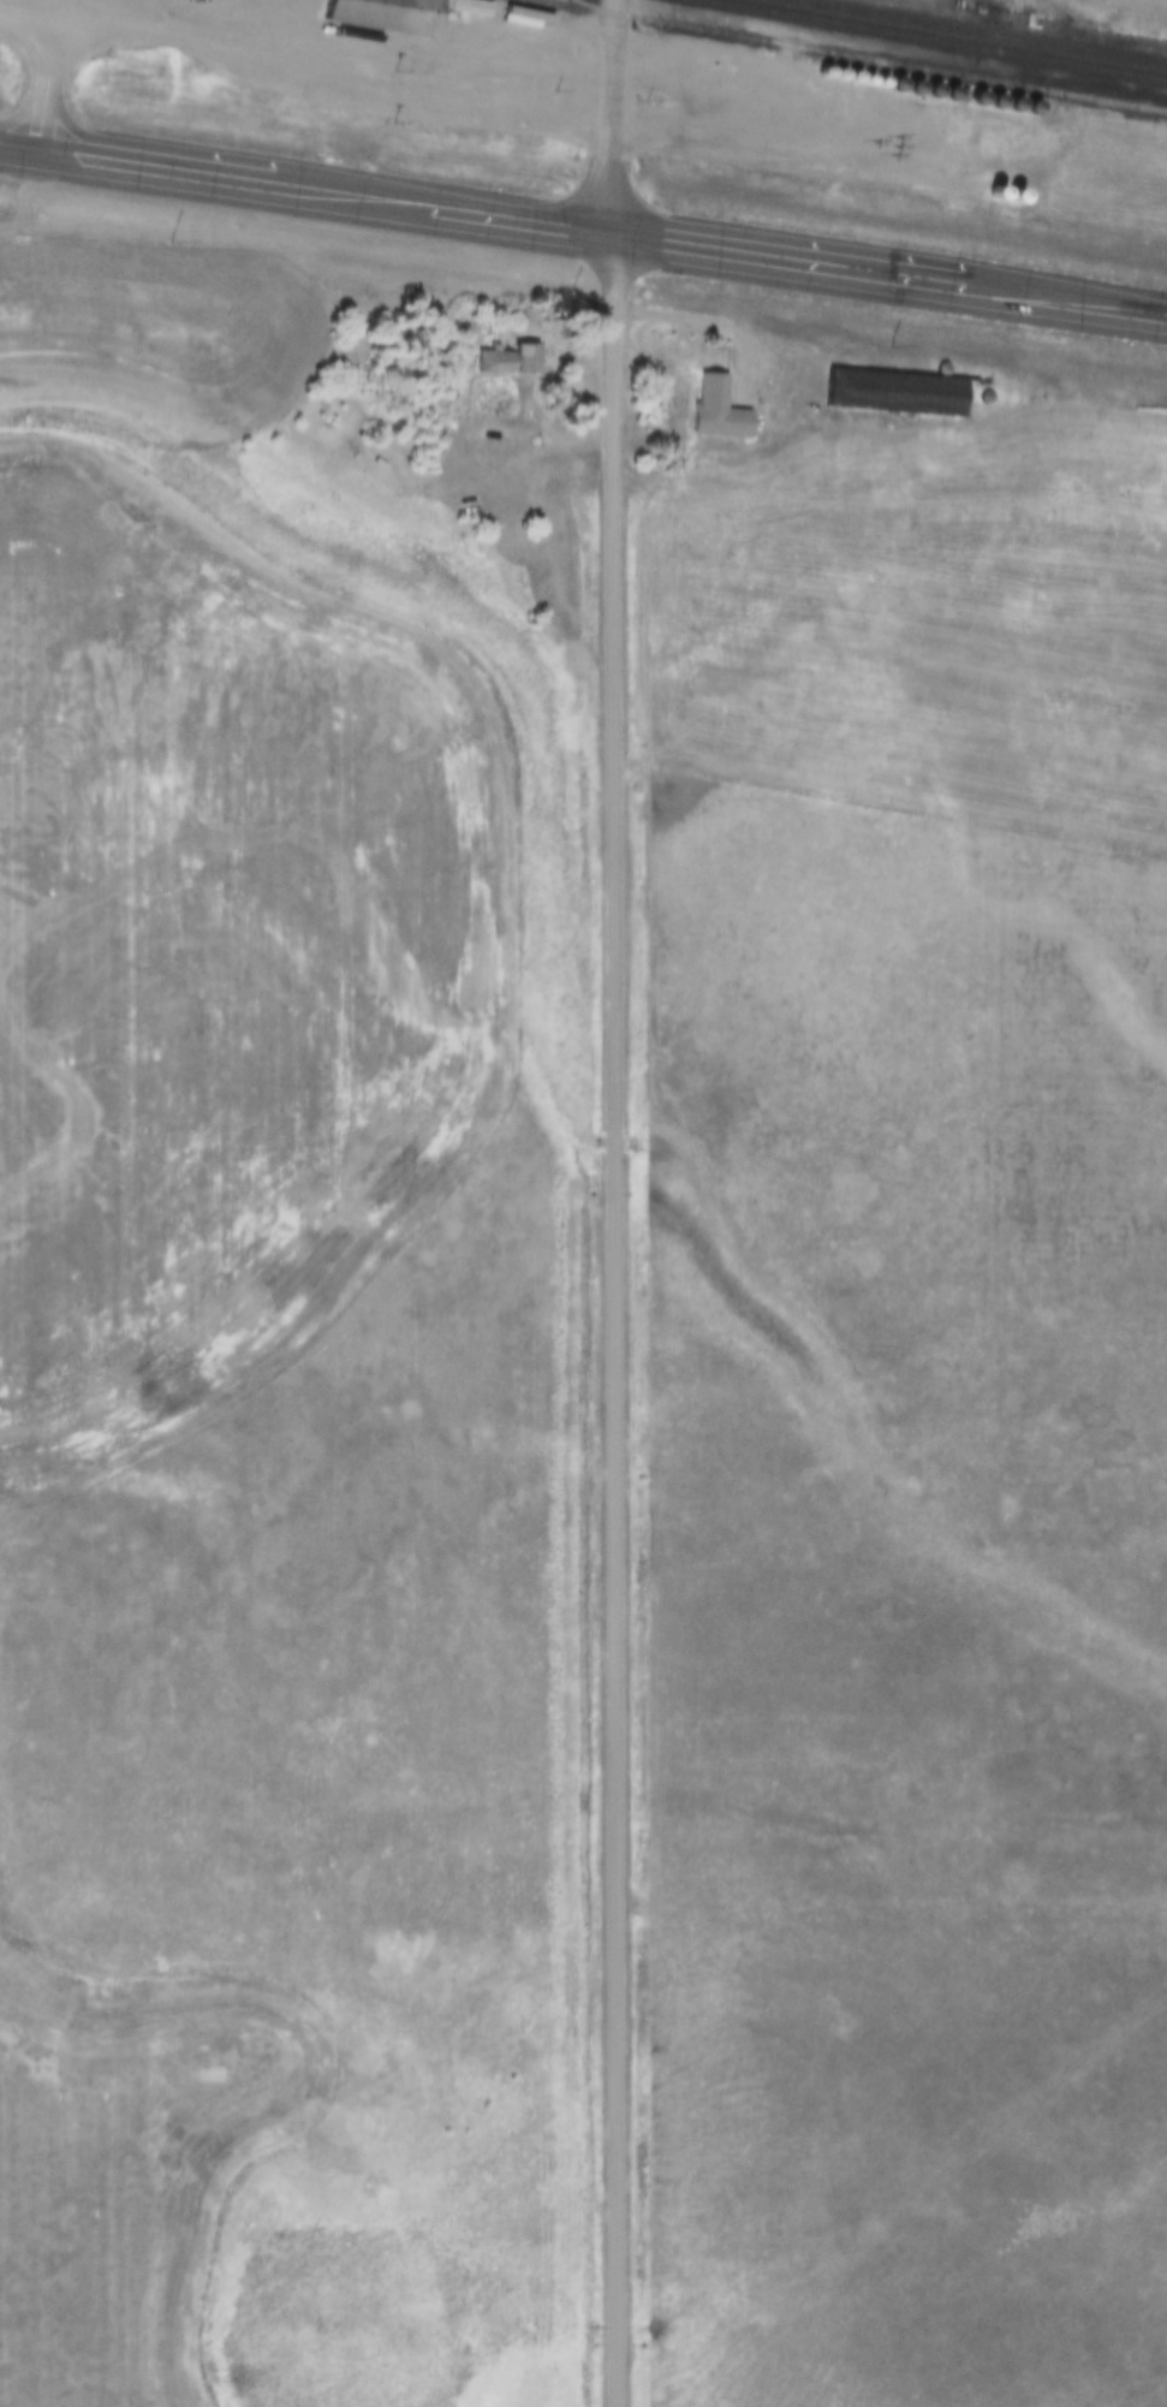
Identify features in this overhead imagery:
road: (1151, 2)
building: (383, 16)
railway: (980, 30)
railway: (929, 41)
railway: (845, 55)
road: (46, 82)
road: (395, 100)
road: (612, 118)
building: (698, 144)
silo: (698, 144)
building: (715, 148)
silo: (715, 148)
building: (732, 150)
silo: (732, 150)
building: (749, 153)
silo: (749, 153)
building: (766, 155)
silo: (766, 155)
building: (782, 159)
silo: (782, 159)
road: (583, 233)
road: (710, 321)
building: (507, 361)
building: (941, 370)
silo: (941, 370)
building: (892, 394)
building: (507, 398)
building: (984, 399)
silo: (984, 399)
building: (716, 411)
road: (617, 1321)

